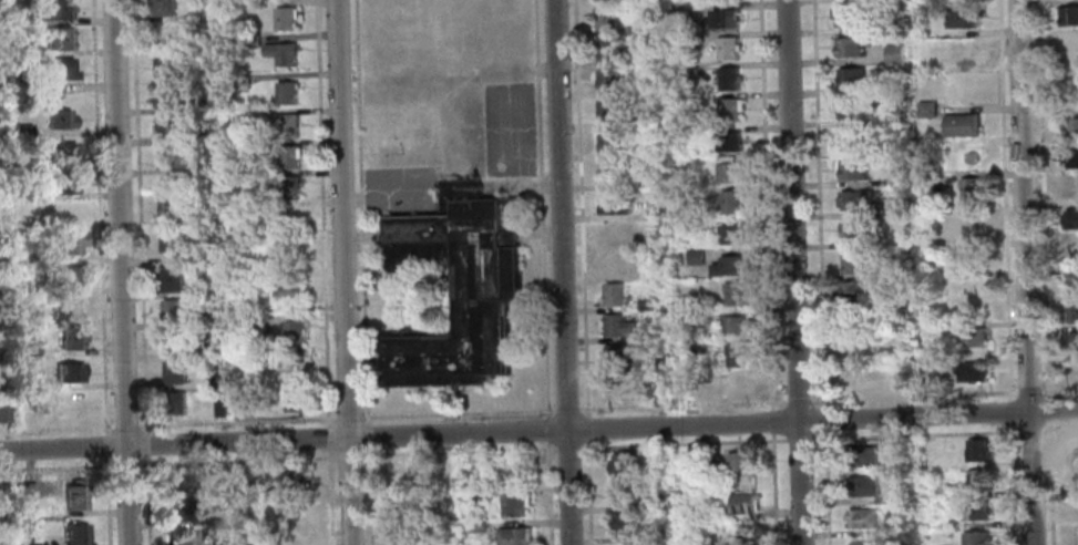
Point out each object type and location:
building: (164, 8)
building: (923, 9)
building: (57, 10)
building: (17, 14)
building: (1067, 14)
building: (842, 16)
building: (287, 17)
building: (608, 17)
building: (963, 17)
building: (725, 18)
building: (895, 22)
building: (638, 27)
building: (691, 34)
building: (60, 38)
building: (250, 39)
building: (849, 45)
building: (19, 47)
building: (609, 48)
building: (729, 48)
building: (1070, 49)
building: (895, 51)
building: (961, 51)
building: (284, 52)
building: (165, 64)
building: (57, 74)
building: (852, 76)
building: (731, 78)
building: (608, 79)
building: (242, 81)
building: (896, 84)
building: (1071, 90)
building: (288, 92)
building: (167, 94)
building: (700, 95)
building: (207, 102)
building: (853, 107)
building: (733, 109)
building: (928, 109)
building: (609, 110)
building: (897, 113)
building: (61, 119)
building: (288, 123)
building: (963, 123)
building: (167, 126)
building: (1071, 126)
park: (509, 128)
building: (24, 131)
building: (211, 134)
building: (853, 138)
building: (609, 141)
building: (731, 141)
building: (249, 147)
building: (899, 147)
building: (62, 152)
building: (968, 152)
building: (170, 156)
building: (290, 156)
building: (1072, 158)
building: (23, 162)
building: (731, 168)
building: (852, 168)
building: (610, 169)
building: (900, 177)
building: (64, 183)
building: (289, 186)
building: (1071, 187)
building: (974, 188)
building: (700, 189)
road: (1006, 197)
road: (1044, 197)
building: (855, 198)
building: (733, 200)
building: (616, 202)
building: (170, 204)
building: (904, 204)
road: (766, 205)
road: (361, 210)
road: (322, 212)
building: (65, 213)
road: (101, 217)
building: (699, 218)
building: (1070, 218)
building: (25, 224)
building: (974, 229)
building: (852, 230)
building: (1, 233)
building: (616, 233)
building: (733, 233)
building: (171, 239)
building: (656, 239)
building: (934, 241)
building: (69, 243)
building: (1071, 247)
building: (696, 254)
building: (204, 255)
building: (854, 261)
building: (615, 263)
building: (730, 264)
road: (822, 271)
road: (1025, 271)
road: (121, 272)
road: (137, 272)
road: (342, 272)
road: (544, 272)
road: (562, 272)
road: (584, 272)
road: (793, 272)
building: (66, 275)
building: (173, 279)
building: (1074, 279)
building: (460, 286)
building: (27, 288)
building: (202, 288)
building: (292, 289)
building: (736, 292)
building: (854, 292)
building: (615, 294)
building: (647, 301)
building: (70, 304)
building: (255, 306)
building: (902, 306)
building: (173, 309)
building: (1074, 311)
building: (257, 319)
building: (700, 322)
building: (620, 323)
building: (737, 323)
building: (1, 325)
building: (295, 330)
building: (651, 333)
building: (72, 335)
building: (975, 336)
building: (174, 340)
building: (1075, 340)
building: (30, 346)
building: (855, 346)
building: (3, 354)
building: (738, 354)
building: (617, 356)
building: (658, 362)
building: (70, 370)
building: (176, 371)
building: (974, 371)
building: (218, 380)
building: (737, 383)
building: (1, 388)
building: (690, 388)
building: (619, 389)
road: (1061, 389)
building: (663, 390)
road: (1030, 390)
road: (913, 395)
building: (299, 399)
road: (799, 400)
building: (177, 402)
building: (70, 405)
road: (684, 405)
building: (220, 407)
road: (1049, 408)
road: (568, 410)
road: (1012, 410)
building: (3, 412)
road: (459, 413)
road: (348, 417)
road: (773, 421)
road: (167, 423)
road: (1060, 428)
road: (1030, 430)
road: (538, 431)
road: (902, 434)
road: (368, 435)
road: (328, 438)
road: (684, 442)
road: (107, 445)
road: (568, 445)
building: (977, 450)
building: (862, 456)
road: (277, 459)
building: (740, 461)
building: (472, 465)
building: (623, 466)
building: (511, 474)
building: (399, 475)
building: (250, 476)
building: (291, 480)
building: (6, 481)
building: (179, 481)
building: (978, 482)
road: (1051, 483)
road: (1014, 485)
building: (862, 486)
road: (774, 489)
building: (29, 490)
building: (75, 494)
building: (623, 494)
road: (370, 496)
road: (330, 497)
road: (109, 500)
building: (743, 503)
building: (515, 505)
building: (975, 510)
building: (181, 511)
building: (220, 515)
building: (292, 515)
building: (863, 518)
building: (625, 525)
building: (476, 526)
building: (903, 527)
building: (79, 534)
building: (401, 535)
building: (513, 536)
building: (181, 537)
building: (975, 538)
building: (299, 542)
building: (441, 542)
building: (223, 543)
building: (864, 543)
building: (37, 544)
building: (628, 544)

